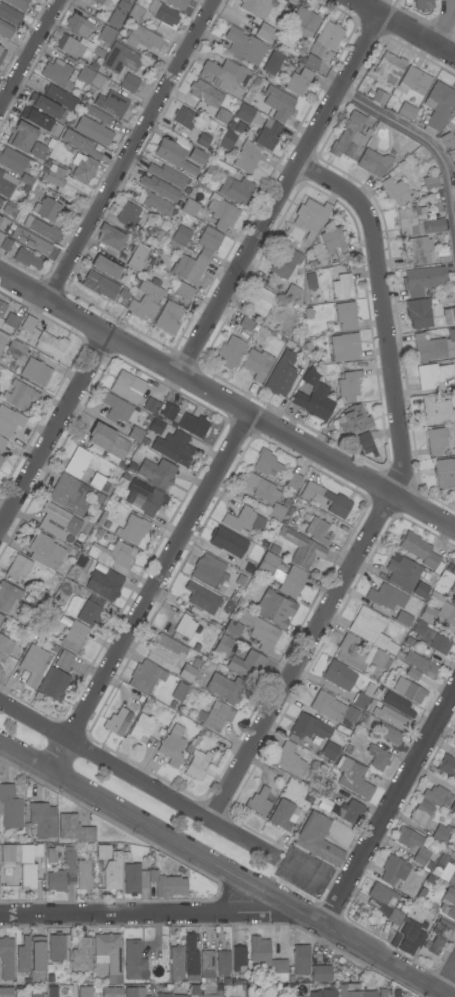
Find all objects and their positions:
building: (100, 2)
building: (177, 3)
building: (17, 4)
building: (422, 4)
building: (135, 12)
building: (162, 13)
building: (118, 14)
building: (10, 15)
building: (260, 20)
building: (305, 22)
road: (445, 22)
building: (78, 25)
road: (406, 27)
building: (5, 30)
building: (105, 36)
building: (326, 38)
building: (141, 39)
building: (77, 46)
building: (244, 47)
road: (29, 52)
building: (1, 54)
building: (120, 59)
building: (309, 61)
building: (272, 63)
building: (389, 66)
building: (58, 74)
building: (84, 74)
building: (224, 76)
building: (414, 80)
building: (97, 81)
building: (299, 81)
building: (130, 82)
building: (199, 90)
building: (377, 96)
building: (59, 97)
building: (278, 103)
building: (110, 104)
building: (438, 105)
building: (44, 106)
building: (406, 111)
building: (244, 113)
building: (222, 116)
building: (454, 116)
building: (183, 118)
building: (36, 119)
building: (94, 125)
building: (265, 135)
building: (21, 136)
building: (348, 137)
building: (227, 139)
building: (203, 140)
building: (447, 141)
building: (80, 143)
road: (429, 145)
road: (129, 149)
building: (38, 151)
building: (174, 155)
building: (197, 156)
building: (247, 159)
building: (13, 160)
building: (373, 162)
building: (83, 167)
building: (169, 175)
building: (54, 176)
building: (26, 182)
building: (430, 182)
building: (6, 184)
building: (159, 188)
building: (234, 189)
building: (395, 192)
road: (279, 194)
building: (0, 200)
building: (155, 203)
building: (190, 207)
building: (9, 209)
building: (46, 209)
building: (221, 212)
building: (128, 215)
building: (311, 216)
building: (2, 222)
building: (419, 222)
building: (44, 230)
building: (1, 236)
building: (110, 237)
building: (199, 237)
building: (31, 241)
building: (335, 243)
building: (4, 244)
building: (418, 251)
building: (137, 256)
building: (27, 258)
building: (285, 262)
building: (106, 267)
building: (189, 268)
building: (423, 280)
building: (99, 285)
building: (342, 287)
building: (285, 289)
building: (184, 291)
building: (147, 299)
building: (260, 304)
building: (2, 306)
building: (422, 310)
building: (449, 315)
building: (346, 316)
building: (168, 318)
building: (11, 320)
building: (288, 322)
building: (246, 323)
building: (28, 324)
building: (451, 335)
building: (3, 340)
building: (51, 345)
building: (347, 346)
building: (432, 348)
building: (15, 349)
building: (229, 353)
building: (257, 364)
building: (36, 372)
building: (433, 374)
building: (282, 375)
building: (454, 376)
building: (347, 385)
building: (127, 386)
building: (20, 393)
building: (315, 397)
road: (226, 401)
building: (150, 405)
building: (118, 409)
building: (437, 411)
building: (167, 412)
building: (353, 419)
building: (9, 422)
building: (156, 426)
building: (194, 426)
road: (52, 429)
building: (135, 434)
building: (364, 439)
building: (435, 440)
building: (105, 441)
building: (2, 443)
building: (173, 447)
building: (1, 459)
building: (77, 462)
building: (266, 463)
building: (444, 473)
building: (162, 475)
building: (97, 481)
building: (293, 481)
building: (70, 494)
road: (390, 494)
building: (267, 495)
building: (146, 498)
building: (327, 499)
building: (243, 520)
building: (57, 521)
building: (316, 529)
building: (133, 531)
building: (228, 542)
building: (416, 546)
building: (297, 548)
building: (47, 553)
building: (114, 557)
building: (268, 564)
building: (18, 567)
building: (209, 571)
building: (402, 572)
building: (290, 581)
building: (104, 584)
building: (421, 590)
road: (149, 591)
building: (453, 592)
building: (8, 595)
building: (386, 597)
building: (201, 598)
building: (275, 609)
building: (91, 610)
building: (52, 612)
building: (439, 613)
building: (403, 619)
building: (180, 626)
building: (233, 628)
building: (371, 629)
building: (260, 631)
building: (73, 636)
building: (433, 640)
building: (222, 646)
building: (4, 648)
building: (166, 649)
building: (350, 653)
building: (378, 658)
building: (63, 660)
building: (418, 663)
building: (248, 665)
building: (210, 666)
building: (43, 672)
building: (187, 673)
building: (412, 673)
building: (146, 676)
building: (339, 676)
building: (225, 690)
building: (409, 690)
building: (179, 691)
building: (363, 697)
building: (397, 704)
building: (327, 706)
building: (351, 714)
building: (216, 717)
building: (391, 718)
building: (119, 721)
building: (142, 727)
building: (307, 729)
building: (389, 735)
building: (454, 743)
building: (172, 746)
building: (329, 751)
building: (377, 758)
building: (291, 761)
building: (197, 764)
building: (447, 766)
building: (353, 778)
road: (137, 779)
building: (328, 790)
building: (343, 796)
building: (438, 796)
building: (454, 798)
building: (454, 800)
building: (259, 802)
road: (387, 805)
building: (10, 807)
building: (452, 807)
building: (348, 812)
building: (421, 813)
building: (285, 815)
building: (41, 820)
building: (74, 828)
building: (454, 831)
building: (440, 834)
building: (407, 838)
building: (318, 840)
building: (103, 852)
building: (8, 853)
building: (51, 855)
building: (422, 859)
building: (443, 859)
building: (29, 866)
road: (224, 870)
building: (393, 870)
building: (63, 872)
building: (113, 873)
building: (83, 875)
road: (313, 875)
building: (452, 877)
building: (155, 880)
building: (429, 884)
building: (421, 893)
building: (448, 897)
building: (386, 902)
road: (141, 910)
building: (449, 912)
road: (6, 913)
building: (442, 929)
building: (411, 936)
building: (394, 940)
building: (434, 945)
building: (57, 947)
building: (37, 953)
building: (81, 955)
building: (265, 955)
building: (23, 956)
building: (108, 956)
building: (191, 956)
building: (6, 959)
building: (238, 959)
building: (301, 960)
building: (134, 962)
building: (223, 963)
building: (176, 964)
building: (207, 966)
building: (321, 974)
road: (448, 980)
building: (86, 991)
building: (209, 991)
building: (360, 991)
building: (6, 992)
building: (52, 992)
building: (111, 992)
building: (134, 992)
building: (324, 993)
building: (37, 995)
building: (169, 995)

